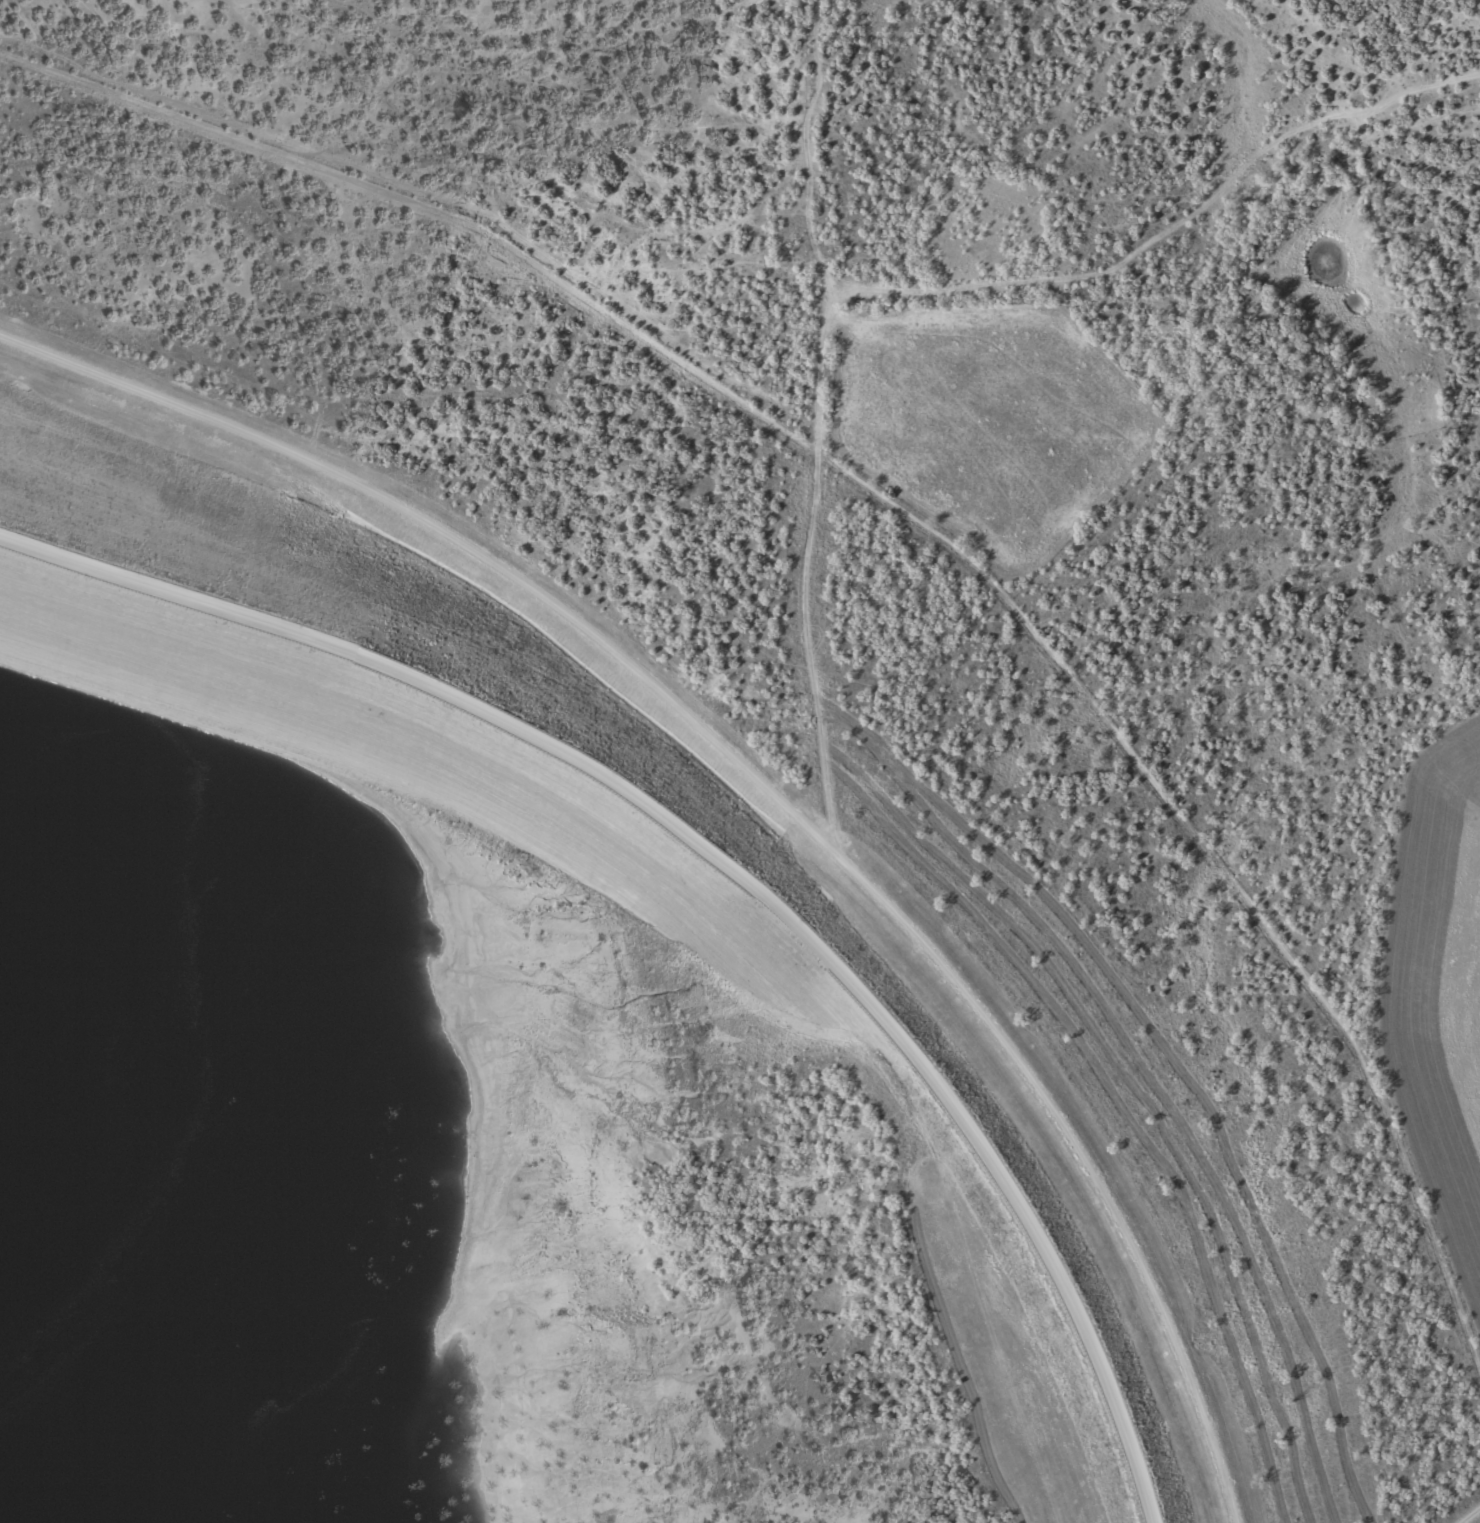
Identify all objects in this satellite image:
road: (409, 500)
road: (760, 526)
road: (729, 860)

